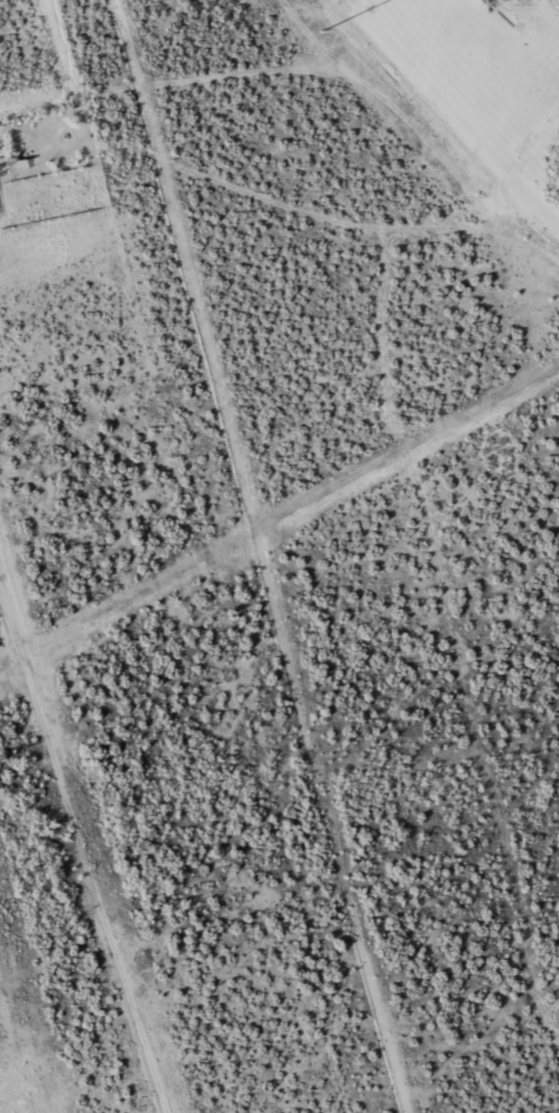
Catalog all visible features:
power tower: (322, 32)
road: (273, 40)
road: (293, 92)

